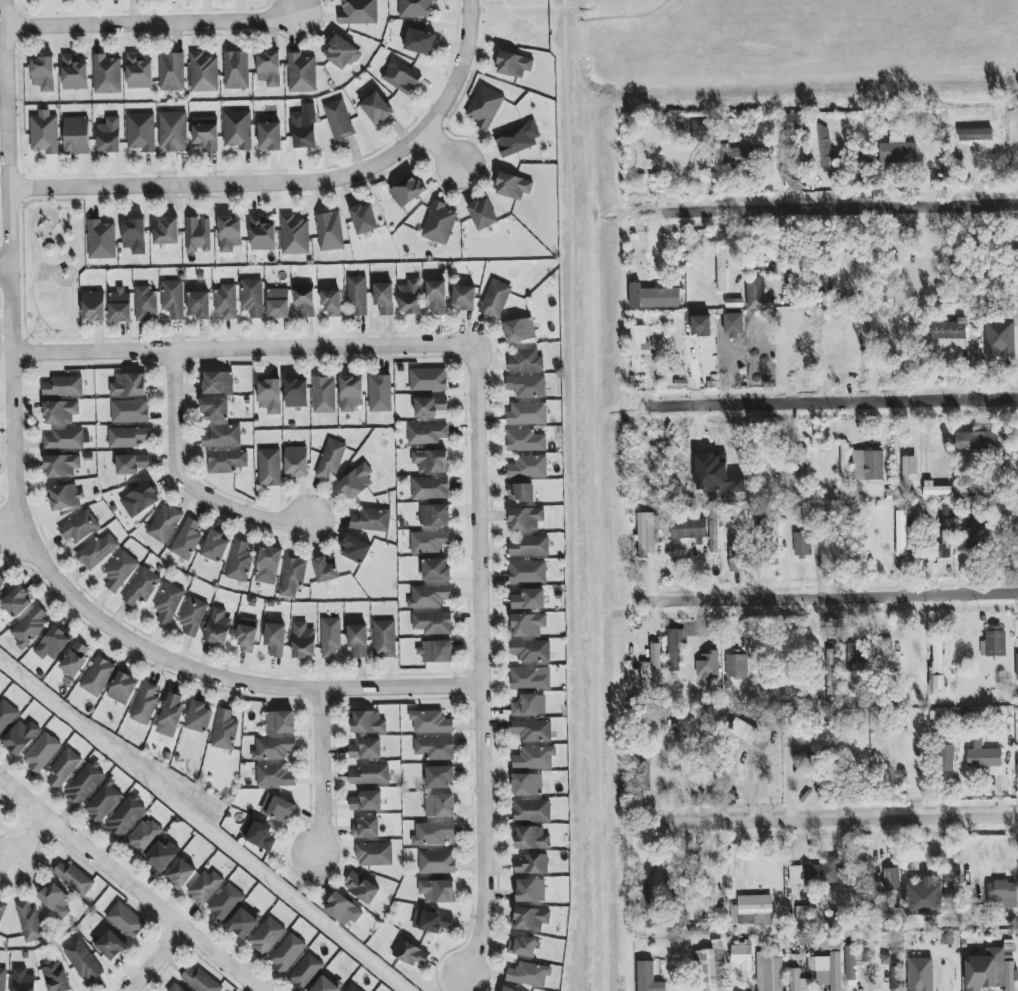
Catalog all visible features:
building: (416, 8)
building: (358, 12)
road: (153, 26)
building: (420, 42)
building: (342, 53)
building: (514, 65)
road: (454, 68)
building: (269, 69)
building: (236, 70)
building: (139, 72)
building: (172, 72)
building: (74, 73)
building: (203, 73)
building: (301, 73)
building: (44, 74)
building: (107, 75)
building: (400, 76)
building: (485, 107)
building: (377, 109)
building: (339, 121)
building: (794, 123)
building: (733, 126)
building: (238, 130)
building: (173, 131)
building: (303, 131)
building: (700, 131)
building: (44, 132)
building: (141, 132)
building: (206, 133)
building: (975, 134)
building: (76, 136)
building: (109, 136)
building: (270, 136)
building: (518, 138)
building: (819, 146)
road: (442, 149)
building: (898, 153)
building: (735, 156)
road: (225, 185)
building: (513, 186)
building: (407, 191)
road: (836, 210)
building: (483, 214)
building: (364, 219)
building: (439, 223)
building: (166, 231)
building: (330, 231)
building: (263, 233)
building: (230, 234)
building: (198, 235)
building: (295, 235)
building: (134, 236)
building: (101, 240)
road: (5, 268)
building: (721, 269)
building: (757, 294)
building: (357, 295)
building: (252, 297)
building: (411, 297)
building: (436, 297)
building: (384, 298)
building: (464, 298)
building: (660, 298)
building: (173, 299)
building: (495, 299)
building: (305, 301)
building: (226, 302)
building: (146, 303)
building: (278, 303)
building: (332, 303)
building: (120, 305)
building: (199, 305)
building: (93, 306)
building: (520, 330)
building: (949, 334)
building: (999, 340)
building: (639, 347)
road: (242, 349)
building: (526, 360)
building: (428, 380)
building: (218, 383)
building: (128, 385)
building: (64, 386)
building: (527, 386)
building: (296, 393)
building: (380, 393)
building: (351, 394)
building: (324, 395)
building: (270, 396)
road: (833, 404)
building: (430, 406)
building: (215, 409)
building: (130, 411)
building: (61, 412)
building: (527, 414)
building: (427, 434)
building: (223, 436)
building: (127, 437)
building: (64, 439)
building: (525, 441)
building: (977, 441)
building: (331, 459)
building: (227, 461)
building: (431, 461)
building: (844, 461)
building: (296, 462)
building: (131, 464)
building: (868, 465)
building: (62, 466)
building: (270, 467)
building: (528, 467)
building: (909, 469)
building: (356, 481)
road: (184, 482)
building: (430, 488)
building: (935, 489)
building: (520, 492)
building: (65, 498)
building: (140, 500)
building: (435, 516)
building: (526, 519)
building: (371, 520)
road: (18, 523)
building: (165, 524)
building: (80, 527)
building: (688, 529)
building: (902, 532)
building: (972, 532)
building: (646, 534)
building: (946, 538)
building: (187, 540)
building: (429, 542)
building: (802, 545)
building: (529, 546)
building: (216, 547)
building: (355, 549)
building: (98, 551)
building: (737, 557)
building: (240, 562)
building: (269, 562)
building: (325, 570)
building: (436, 570)
building: (120, 571)
building: (528, 572)
building: (293, 578)
building: (1, 580)
building: (142, 587)
building: (1, 593)
road: (832, 596)
building: (429, 597)
building: (529, 599)
building: (17, 602)
building: (168, 603)
building: (193, 616)
building: (433, 623)
building: (528, 625)
building: (29, 627)
building: (218, 627)
building: (247, 636)
building: (331, 637)
building: (275, 639)
building: (384, 639)
building: (358, 640)
building: (303, 641)
building: (994, 642)
building: (53, 644)
building: (675, 648)
building: (436, 651)
building: (531, 651)
building: (856, 652)
building: (75, 659)
road: (477, 661)
building: (708, 665)
building: (737, 666)
building: (937, 666)
building: (1017, 667)
building: (652, 668)
building: (830, 672)
building: (98, 677)
building: (529, 679)
building: (123, 688)
building: (145, 704)
building: (530, 706)
building: (172, 711)
building: (6, 716)
building: (199, 717)
building: (280, 722)
building: (367, 722)
building: (431, 722)
building: (225, 730)
building: (532, 731)
building: (21, 737)
building: (435, 748)
building: (273, 749)
building: (366, 749)
building: (41, 752)
building: (983, 756)
building: (535, 758)
building: (946, 758)
building: (1017, 765)
building: (63, 768)
road: (320, 773)
building: (370, 774)
building: (275, 776)
building: (439, 777)
building: (84, 784)
building: (527, 784)
building: (367, 801)
building: (103, 802)
building: (1, 805)
building: (440, 806)
building: (277, 809)
building: (532, 810)
building: (125, 817)
road: (835, 821)
building: (366, 828)
building: (433, 834)
building: (258, 835)
building: (143, 837)
building: (531, 838)
road: (33, 839)
building: (374, 854)
building: (162, 855)
building: (437, 862)
building: (532, 864)
building: (822, 872)
building: (181, 874)
building: (796, 875)
building: (73, 878)
building: (892, 879)
road: (134, 880)
building: (950, 881)
building: (205, 887)
building: (361, 887)
building: (437, 891)
building: (530, 891)
building: (1002, 895)
building: (646, 900)
building: (924, 900)
building: (56, 901)
building: (225, 903)
building: (343, 909)
building: (2, 910)
building: (752, 911)
building: (803, 918)
building: (530, 919)
building: (126, 920)
building: (431, 921)
building: (30, 922)
building: (243, 924)
building: (266, 937)
building: (109, 945)
building: (523, 947)
building: (287, 953)
building: (411, 954)
building: (742, 956)
road: (156, 957)
building: (855, 959)
building: (83, 961)
building: (711, 968)
building: (990, 971)
building: (306, 972)
building: (769, 973)
building: (529, 974)
building: (929, 975)
building: (896, 976)
building: (56, 977)
building: (648, 977)
building: (3, 979)
building: (24, 980)
building: (200, 981)
building: (800, 982)
building: (325, 985)
building: (176, 988)
building: (352, 988)
building: (507, 989)

